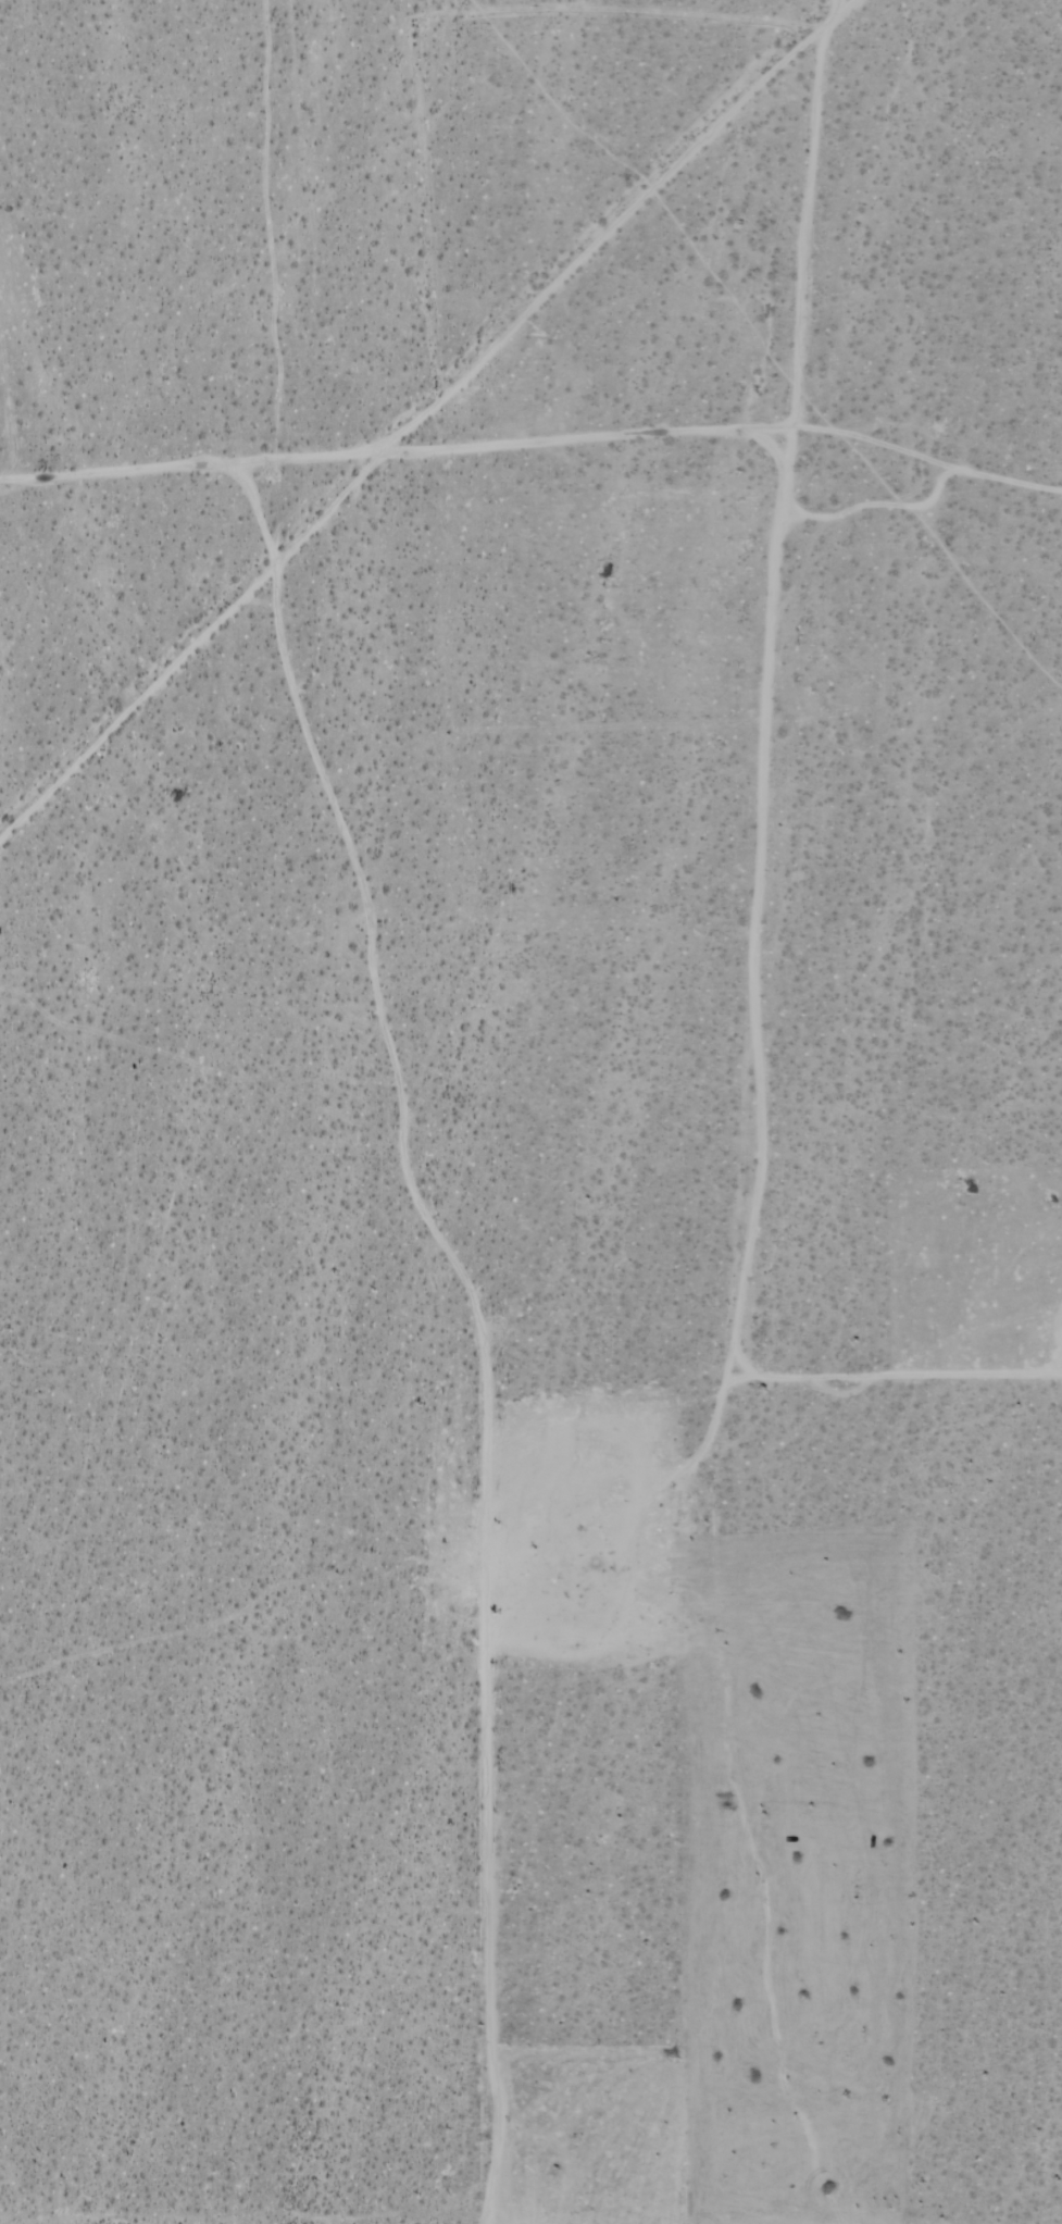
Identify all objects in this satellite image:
road: (422, 407)
road: (921, 454)
road: (117, 469)
road: (875, 504)
road: (736, 1337)
road: (896, 1375)

